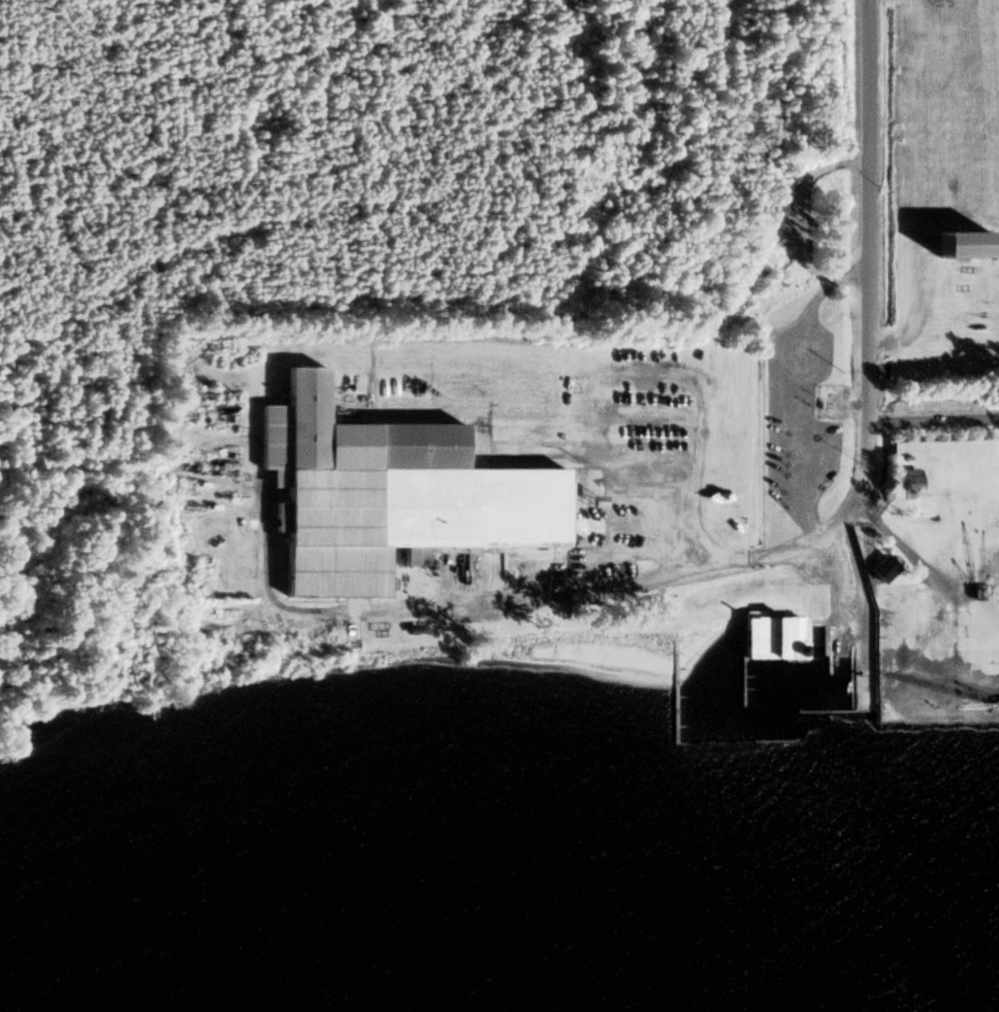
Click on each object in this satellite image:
road: (867, 209)
building: (959, 244)
road: (933, 417)
road: (866, 456)
building: (909, 479)
building: (384, 494)
road: (724, 556)
building: (881, 569)
building: (769, 636)

